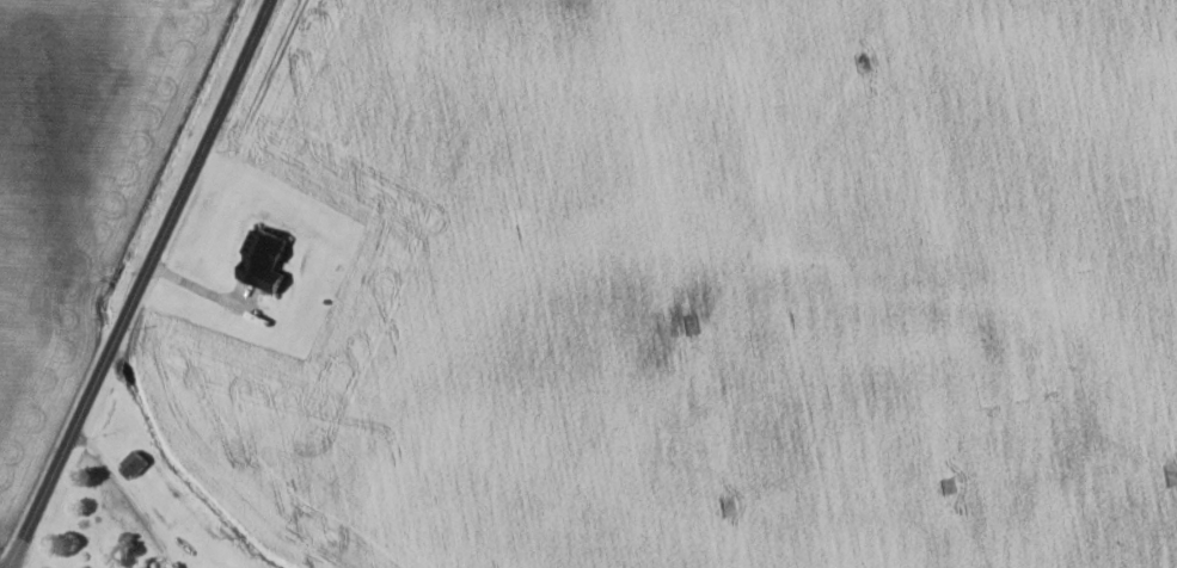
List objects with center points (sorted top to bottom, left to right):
building: (263, 259)
road: (140, 284)
building: (131, 464)
building: (136, 567)

